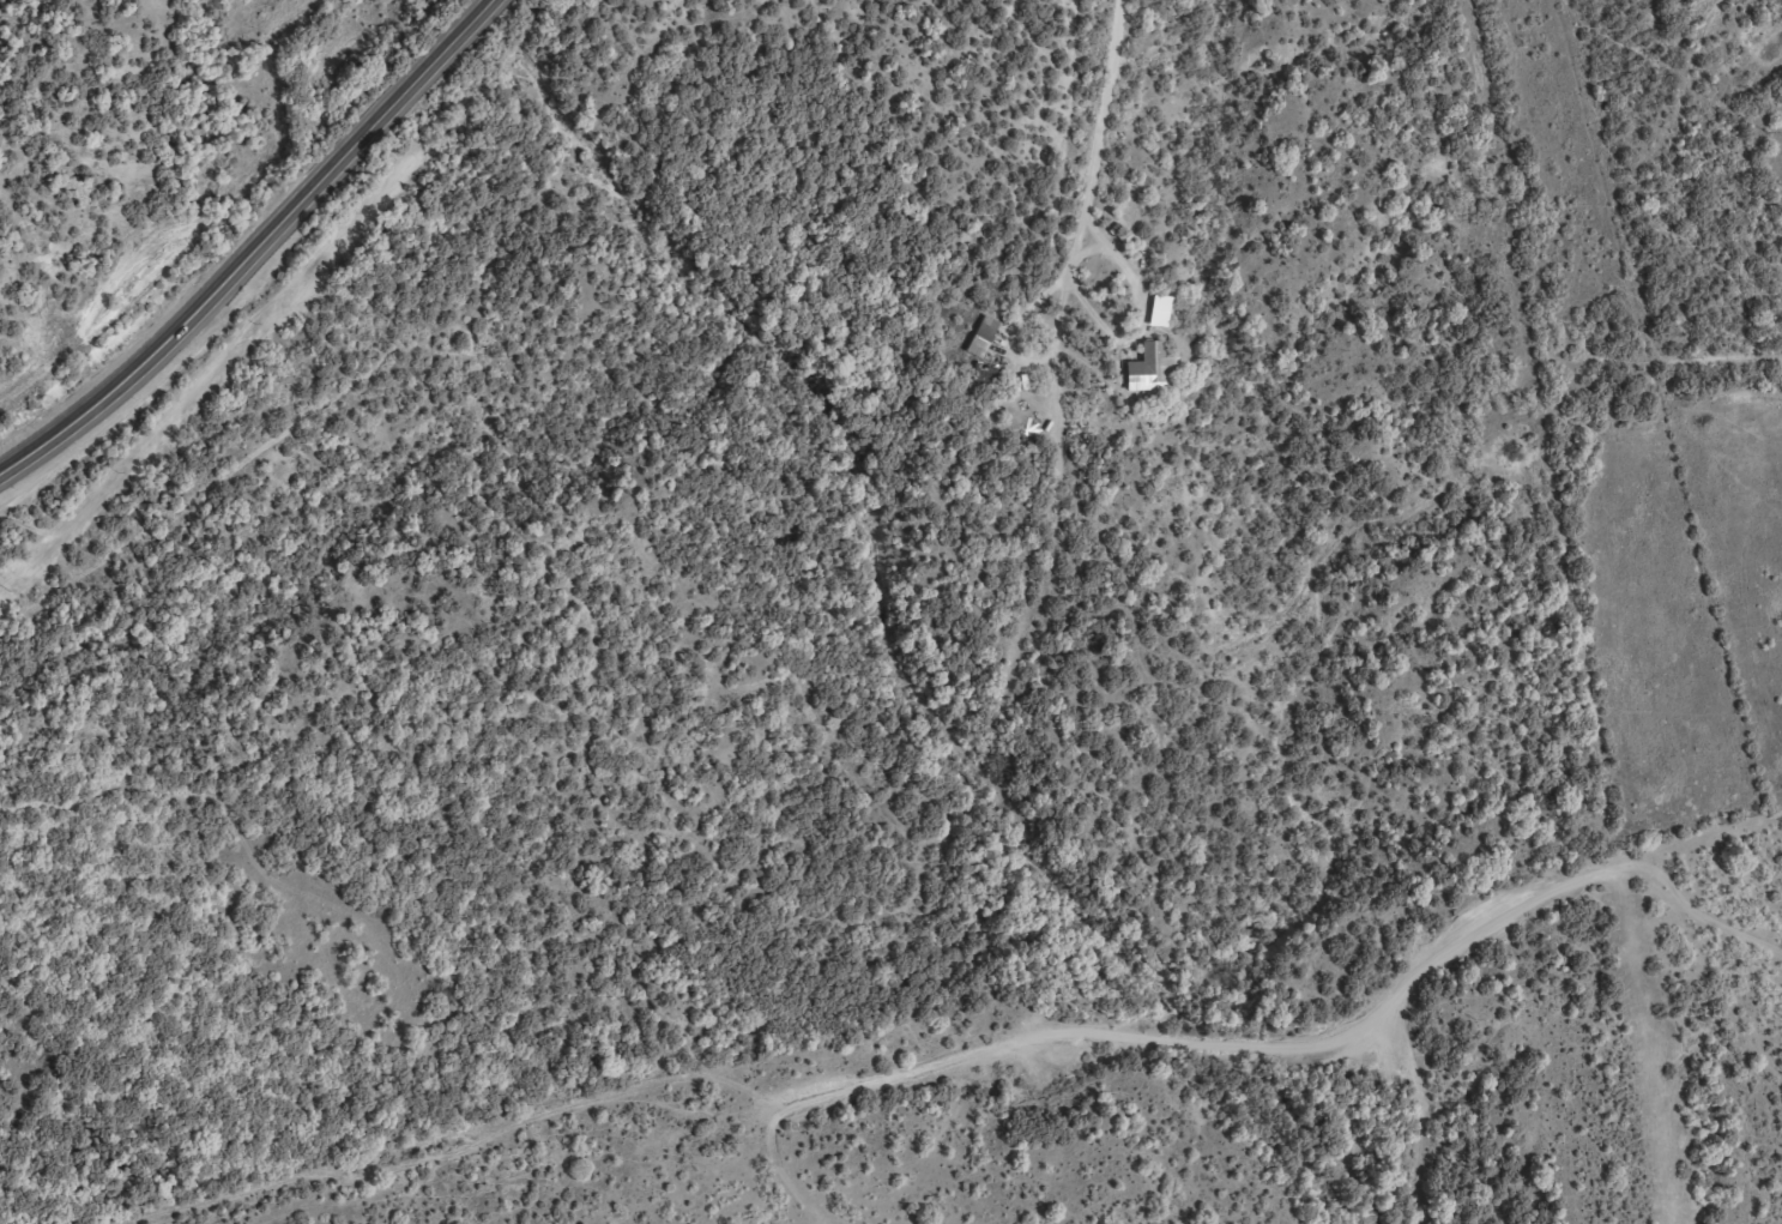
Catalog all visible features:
road: (1103, 111)
road: (258, 249)
building: (1156, 320)
road: (1126, 344)
building: (980, 346)
building: (1147, 379)
road: (1008, 1098)

